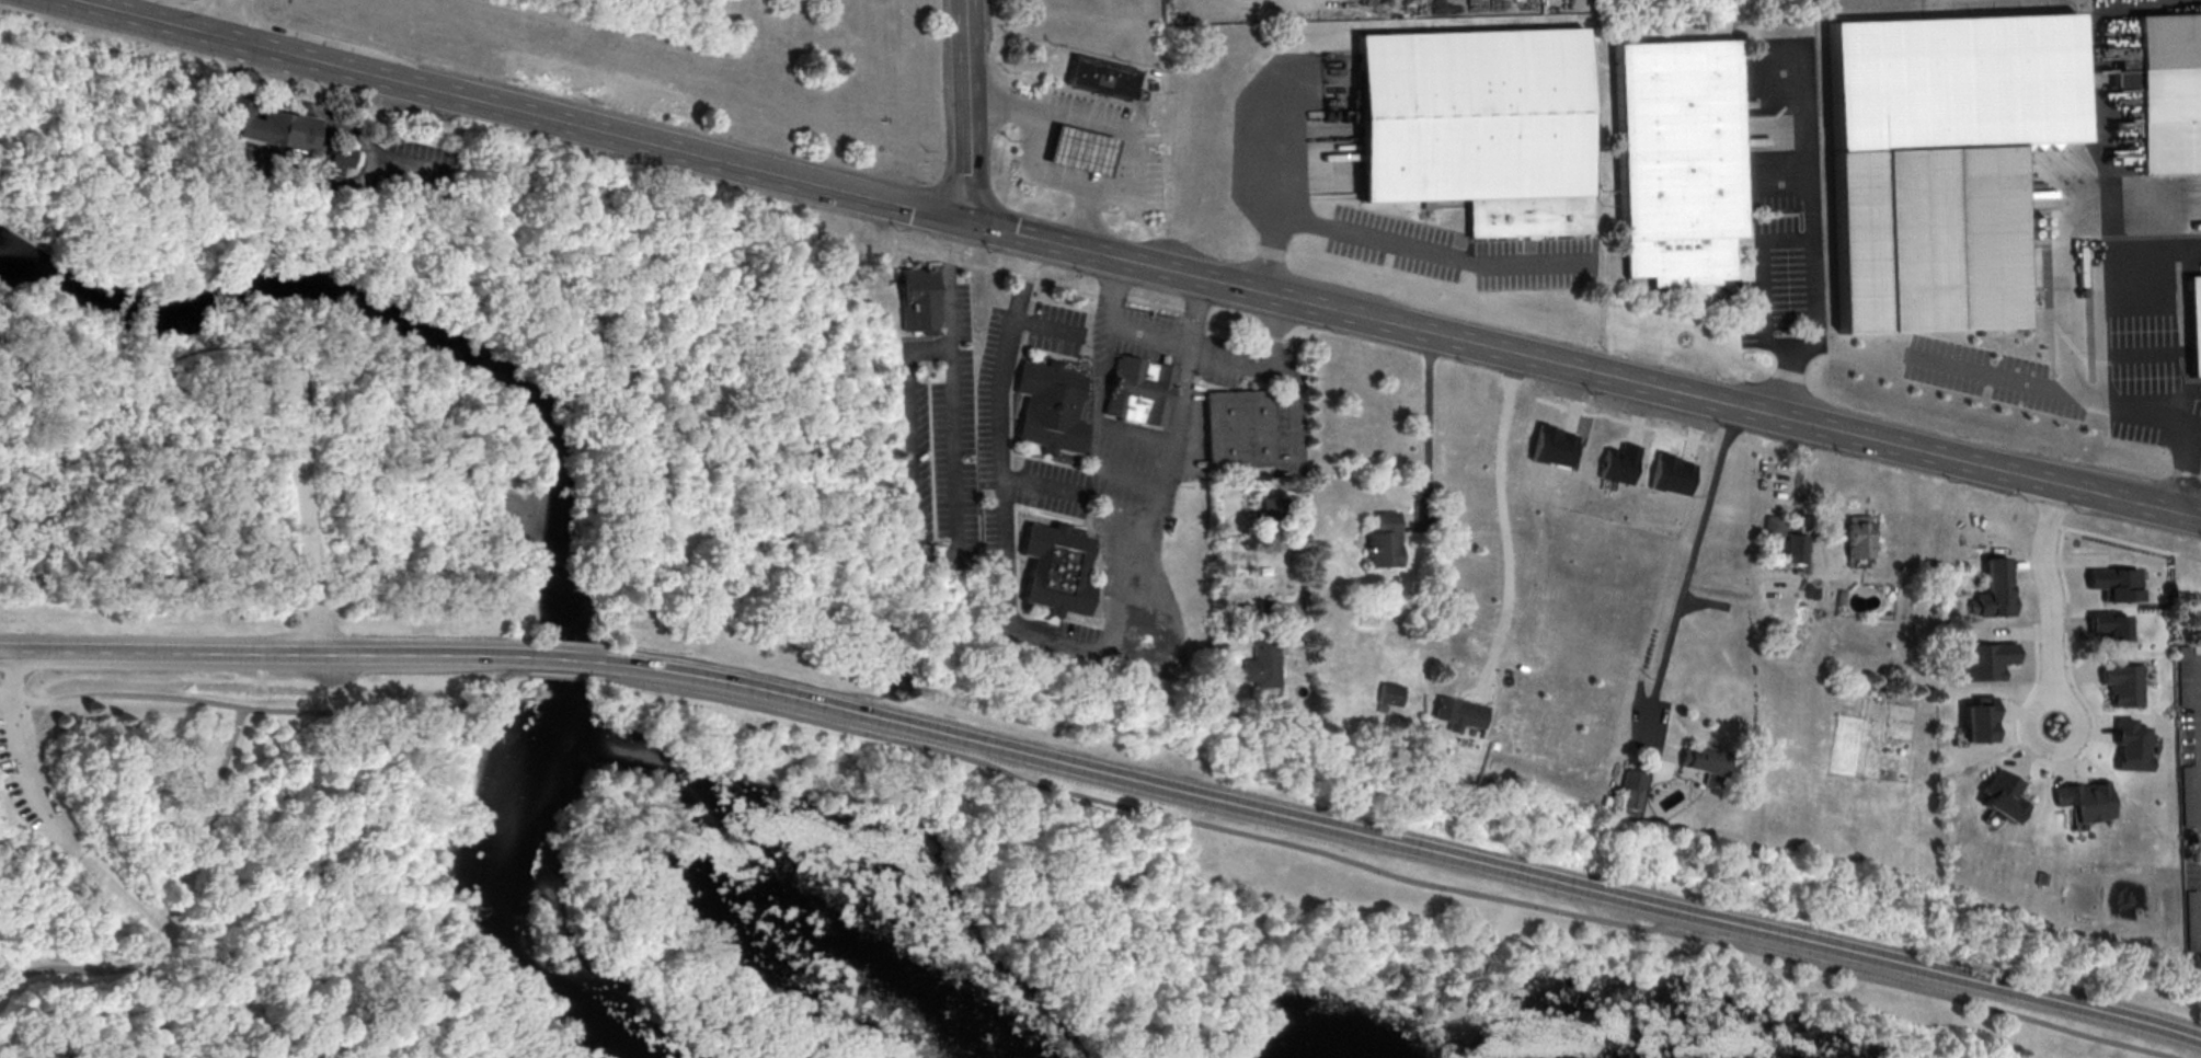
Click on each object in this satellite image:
road: (210, 16)
road: (242, 20)
road: (218, 36)
building: (1101, 82)
building: (2168, 91)
road: (966, 112)
building: (1477, 126)
building: (266, 133)
road: (1127, 135)
road: (354, 137)
building: (337, 156)
building: (1082, 157)
building: (1676, 160)
road: (1032, 164)
road: (921, 214)
road: (2064, 225)
traffic signals: (971, 226)
road: (1811, 242)
building: (1928, 244)
road: (1399, 248)
road: (1764, 281)
building: (920, 302)
building: (2193, 324)
road: (1045, 325)
road: (1117, 331)
road: (2181, 343)
road: (379, 347)
road: (145, 363)
road: (1262, 372)
building: (1139, 391)
road: (2057, 394)
building: (1048, 407)
parking lot: (298, 415)
building: (1239, 428)
road: (1431, 429)
road: (1094, 432)
road: (1132, 433)
road: (1842, 434)
building: (1618, 463)
road: (2180, 469)
river: (562, 480)
road: (1303, 487)
road: (1040, 490)
road: (306, 505)
building: (1269, 515)
road: (1124, 522)
building: (1773, 526)
road: (1504, 529)
road: (956, 533)
building: (1383, 541)
building: (1857, 541)
building: (1796, 550)
building: (1053, 570)
road: (1686, 578)
building: (1990, 601)
road: (2050, 605)
building: (2109, 625)
road: (1085, 642)
road: (265, 655)
road: (568, 660)
building: (1262, 663)
parking lot: (335, 669)
road: (18, 672)
road: (507, 686)
building: (2107, 688)
building: (1390, 693)
road: (121, 695)
building: (1458, 712)
road: (330, 714)
park: (736, 760)
building: (1706, 762)
road: (28, 785)
parking lot: (37, 787)
building: (1632, 789)
building: (2001, 796)
road: (1403, 846)
road: (329, 869)
road: (1385, 874)
road: (121, 900)
road: (172, 909)
road: (1243, 945)
road: (266, 961)
road: (1482, 961)
road: (378, 974)
road: (231, 994)
road: (400, 1046)

